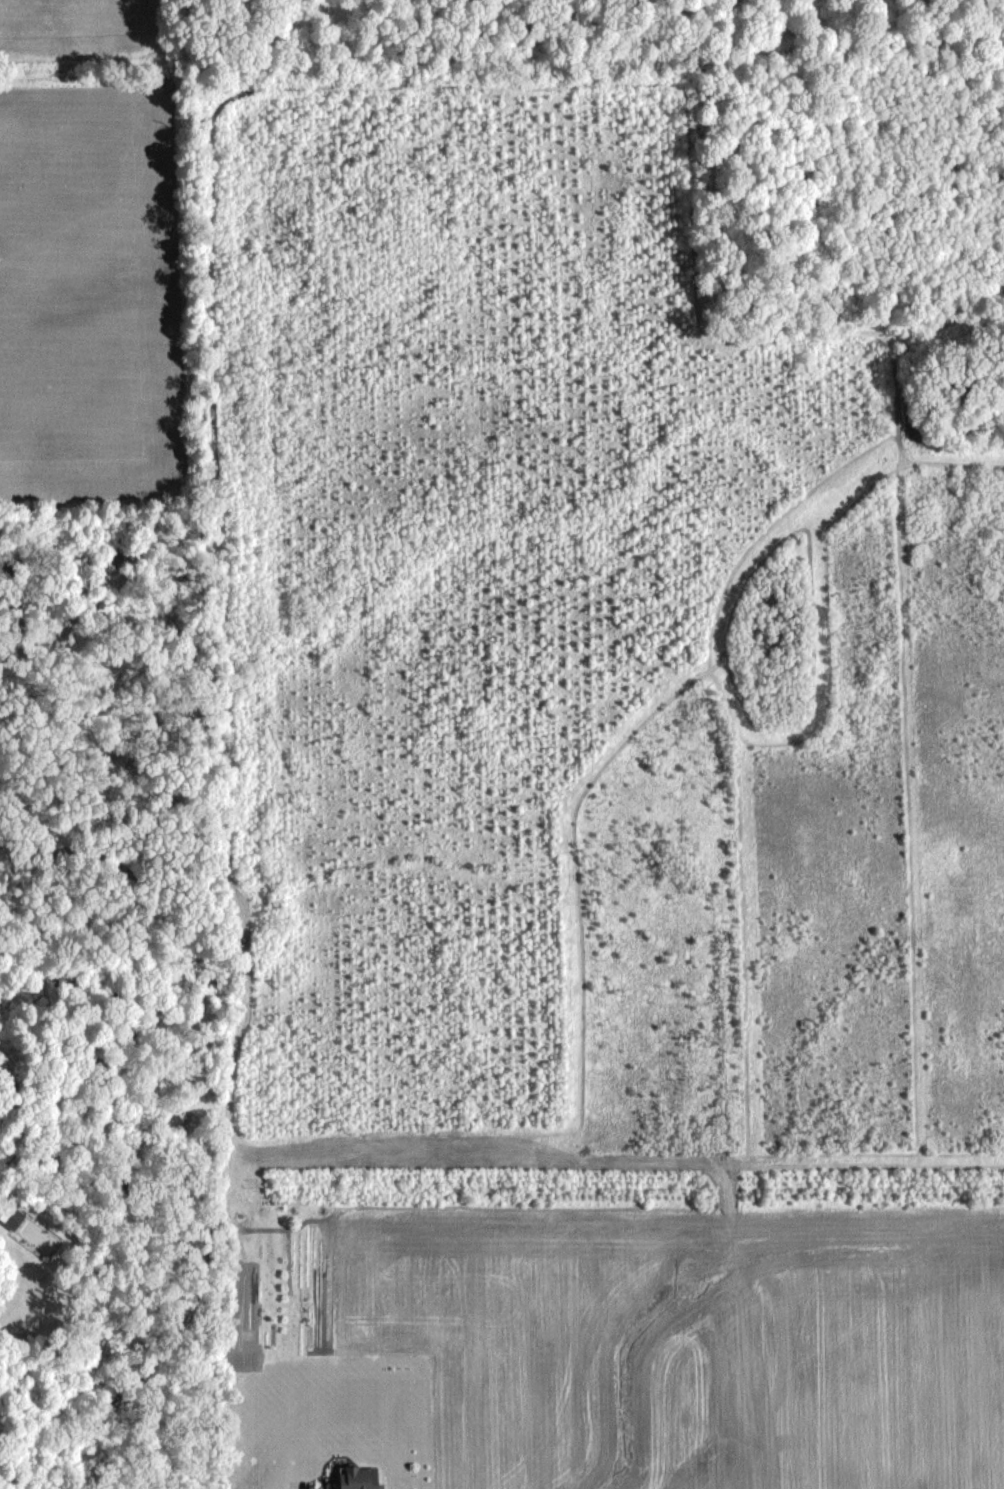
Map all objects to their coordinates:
building: (11, 1214)
building: (359, 1476)

